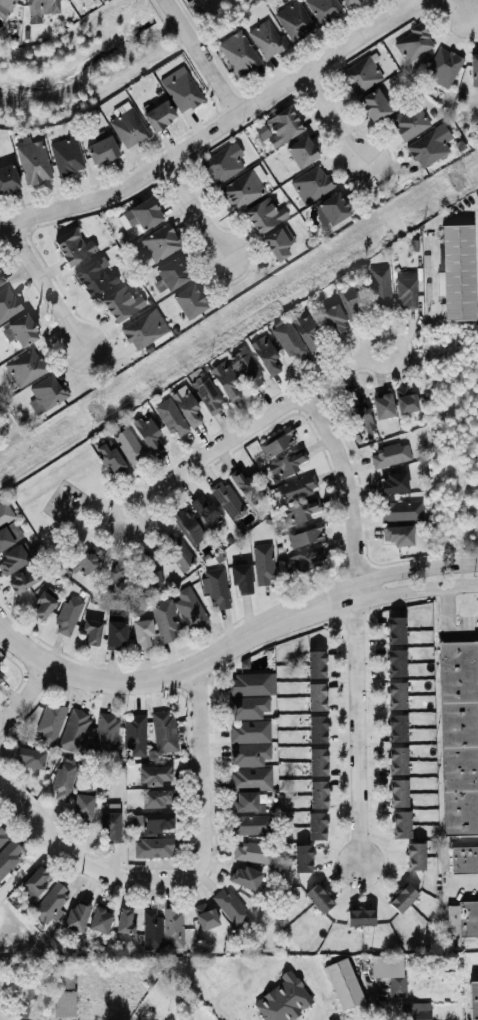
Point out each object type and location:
building: (350, 2)
building: (5, 6)
road: (460, 6)
building: (39, 9)
building: (322, 9)
road: (182, 19)
building: (294, 21)
building: (266, 39)
building: (412, 43)
building: (237, 54)
building: (473, 66)
building: (441, 68)
road: (218, 75)
building: (360, 75)
building: (182, 92)
building: (374, 105)
building: (158, 116)
road: (337, 117)
building: (408, 122)
road: (221, 126)
building: (282, 127)
building: (127, 128)
building: (261, 131)
building: (428, 146)
building: (101, 150)
building: (301, 152)
building: (66, 156)
building: (32, 163)
building: (220, 165)
building: (7, 178)
power tower: (454, 178)
building: (310, 184)
building: (241, 190)
building: (332, 208)
road: (194, 211)
building: (143, 214)
building: (263, 215)
building: (159, 243)
building: (277, 244)
building: (73, 247)
building: (457, 272)
building: (171, 274)
building: (1, 279)
building: (94, 279)
road: (47, 284)
building: (379, 287)
building: (405, 293)
building: (189, 301)
building: (349, 301)
building: (122, 302)
building: (7, 304)
building: (333, 320)
building: (22, 330)
building: (306, 330)
building: (141, 331)
building: (288, 341)
building: (266, 356)
building: (246, 367)
building: (24, 368)
building: (225, 382)
building: (46, 393)
building: (207, 393)
building: (406, 403)
building: (382, 406)
building: (187, 408)
power tower: (92, 409)
building: (359, 413)
building: (170, 418)
road: (253, 424)
building: (147, 433)
building: (276, 442)
building: (128, 447)
building: (389, 455)
building: (109, 458)
building: (289, 462)
building: (392, 483)
building: (245, 486)
road: (349, 486)
building: (294, 489)
building: (225, 498)
park: (66, 502)
building: (301, 511)
building: (400, 511)
building: (4, 513)
building: (206, 513)
building: (188, 528)
building: (305, 535)
building: (396, 535)
building: (9, 536)
building: (178, 553)
building: (12, 560)
building: (304, 561)
building: (83, 564)
building: (262, 565)
road: (414, 570)
building: (118, 574)
building: (150, 578)
building: (241, 579)
building: (22, 580)
building: (216, 589)
road: (416, 590)
building: (42, 606)
building: (188, 608)
building: (67, 616)
road: (453, 617)
building: (164, 621)
building: (395, 630)
building: (91, 631)
building: (142, 633)
building: (115, 635)
building: (396, 663)
building: (315, 664)
road: (177, 671)
building: (1, 674)
building: (0, 678)
building: (249, 684)
road: (28, 694)
building: (397, 696)
building: (316, 697)
building: (247, 708)
building: (49, 722)
road: (357, 727)
building: (397, 728)
building: (316, 729)
building: (73, 731)
building: (163, 732)
building: (248, 732)
building: (133, 734)
building: (105, 735)
building: (458, 736)
building: (248, 754)
building: (29, 758)
building: (397, 760)
building: (317, 762)
road: (202, 772)
building: (153, 776)
building: (250, 779)
building: (62, 781)
building: (398, 793)
building: (317, 795)
building: (155, 799)
building: (245, 801)
building: (83, 804)
building: (157, 823)
building: (251, 824)
building: (401, 825)
building: (315, 826)
building: (110, 827)
building: (2, 836)
building: (152, 847)
building: (251, 852)
building: (9, 856)
building: (416, 856)
building: (301, 858)
building: (464, 859)
road: (81, 862)
building: (245, 877)
building: (35, 881)
building: (318, 898)
building: (402, 898)
building: (49, 902)
building: (229, 906)
building: (204, 916)
building: (75, 917)
building: (360, 917)
building: (467, 918)
building: (100, 920)
building: (124, 921)
building: (172, 928)
building: (150, 929)
building: (343, 983)
building: (396, 985)
building: (63, 992)
building: (27, 995)
building: (282, 1000)
building: (473, 1000)
building: (412, 1011)
building: (114, 1015)
building: (337, 1019)

